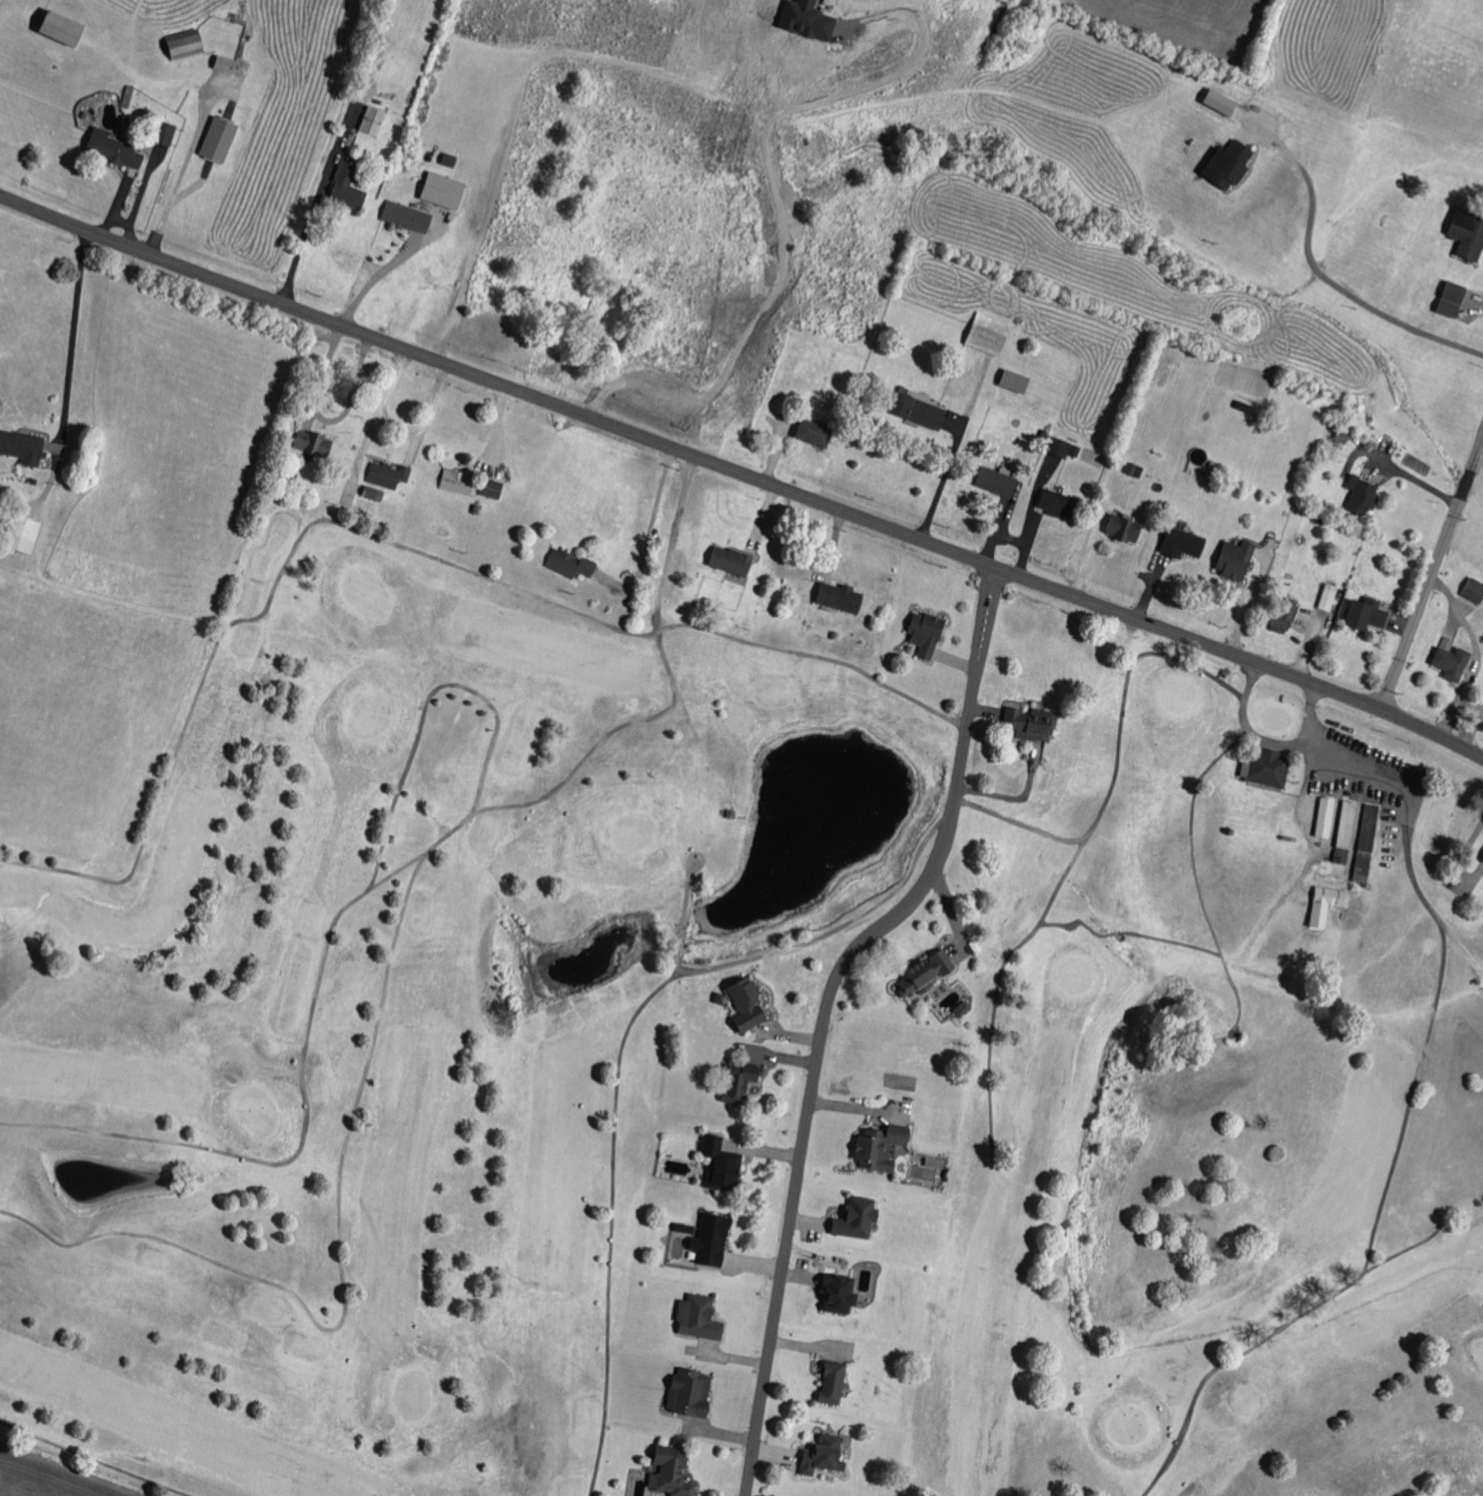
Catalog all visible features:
building: (812, 20)
building: (69, 29)
building: (192, 46)
building: (229, 64)
building: (1210, 100)
building: (171, 134)
building: (222, 138)
building: (118, 149)
building: (1222, 166)
building: (355, 175)
building: (448, 191)
building: (410, 217)
building: (1464, 236)
building: (1447, 299)
building: (989, 335)
building: (1019, 380)
building: (924, 411)
building: (817, 432)
building: (25, 446)
building: (1069, 447)
building: (1215, 470)
road: (742, 473)
building: (390, 474)
building: (1001, 480)
building: (459, 481)
building: (495, 489)
building: (376, 493)
building: (1366, 494)
building: (1063, 501)
building: (1128, 526)
building: (1186, 543)
building: (1240, 558)
building: (734, 560)
building: (571, 563)
road: (1433, 576)
building: (1475, 588)
building: (844, 596)
building: (1330, 597)
building: (1370, 613)
building: (1283, 624)
building: (929, 632)
building: (1454, 659)
building: (1034, 722)
building: (1268, 766)
building: (1327, 817)
building: (1348, 832)
building: (1368, 842)
road: (925, 877)
building: (1329, 904)
building: (928, 974)
building: (751, 1004)
park: (343, 1009)
road: (826, 1009)
building: (966, 1009)
building: (741, 1084)
building: (886, 1146)
building: (723, 1163)
building: (860, 1218)
building: (691, 1229)
building: (715, 1239)
building: (844, 1292)
building: (703, 1317)
building: (837, 1382)
building: (694, 1392)
building: (827, 1455)
building: (676, 1472)

